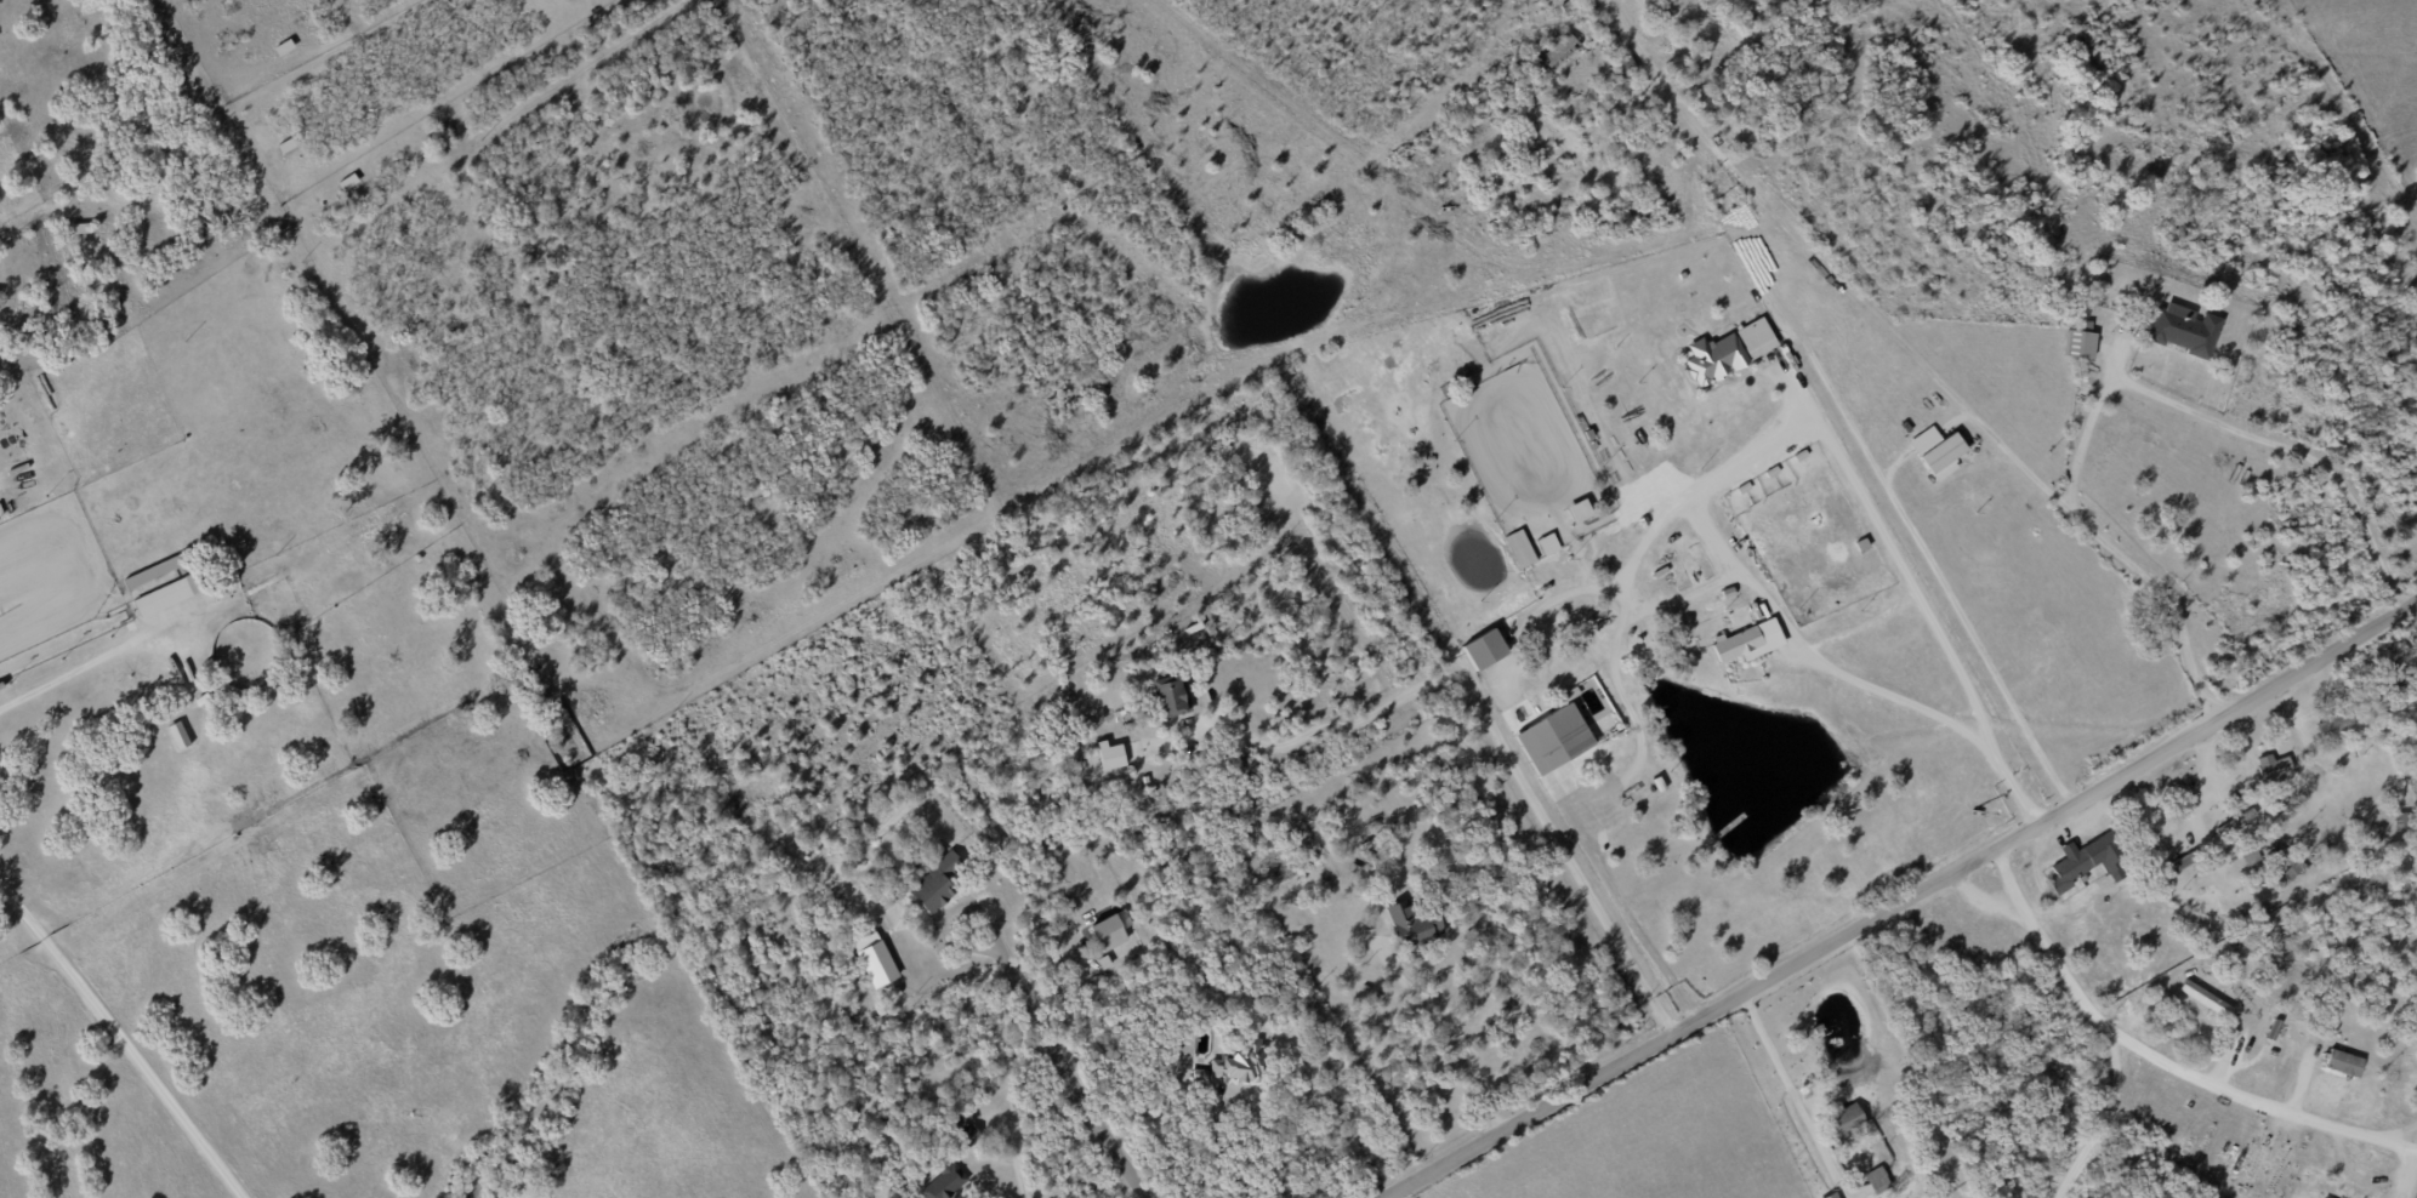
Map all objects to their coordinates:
building: (1559, 51)
building: (285, 146)
building: (2184, 329)
building: (1756, 337)
building: (2078, 343)
building: (1713, 358)
road: (1917, 359)
road: (2230, 430)
road: (1821, 449)
building: (1937, 451)
building: (1577, 510)
road: (1707, 542)
building: (1547, 543)
building: (1519, 548)
building: (152, 571)
road: (1747, 588)
building: (164, 595)
road: (1850, 628)
building: (1747, 641)
building: (1483, 649)
building: (1167, 697)
building: (2336, 724)
building: (1552, 738)
road: (1501, 745)
building: (1109, 754)
building: (2270, 764)
building: (2235, 821)
building: (2250, 855)
building: (2189, 856)
building: (2087, 861)
building: (2288, 865)
building: (2169, 868)
building: (934, 883)
road: (1901, 901)
building: (1414, 925)
road: (1625, 925)
building: (1109, 930)
building: (874, 959)
building: (1103, 962)
building: (2205, 998)
road: (2098, 1016)
road: (1460, 1019)
road: (114, 1048)
road: (1060, 1057)
building: (2343, 1063)
building: (1234, 1066)
road: (2208, 1080)
road: (1795, 1095)
building: (1846, 1120)
building: (965, 1130)
road: (2302, 1134)
road: (1230, 1153)
road: (1018, 1158)
building: (1877, 1180)
building: (944, 1182)
building: (1830, 1196)

